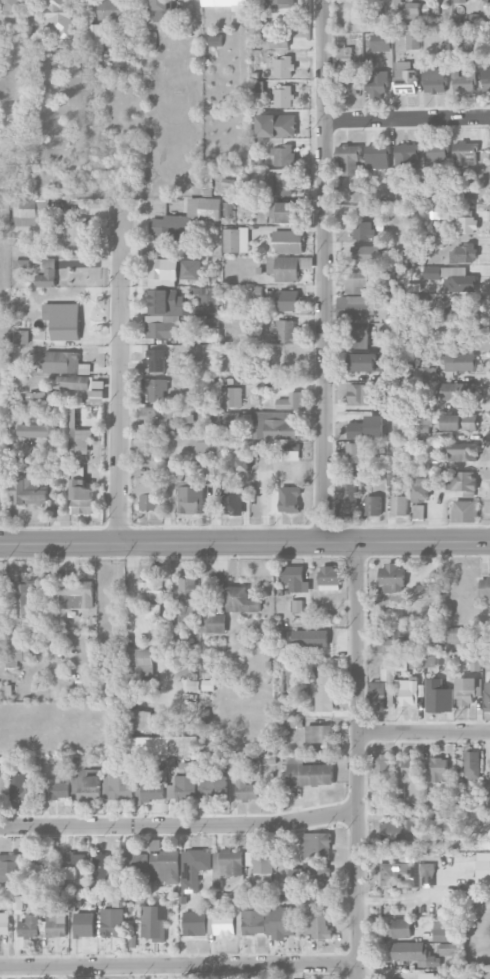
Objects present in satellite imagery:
building: (229, 3)
building: (9, 5)
building: (113, 9)
building: (162, 9)
building: (413, 10)
building: (58, 18)
building: (95, 37)
building: (413, 40)
building: (280, 41)
building: (378, 41)
building: (444, 47)
building: (344, 56)
building: (94, 62)
building: (284, 66)
building: (37, 68)
building: (405, 77)
building: (486, 78)
building: (434, 79)
building: (463, 80)
building: (377, 83)
building: (347, 85)
building: (283, 96)
road: (408, 118)
building: (276, 125)
building: (377, 152)
building: (464, 153)
building: (435, 154)
building: (284, 155)
building: (407, 156)
building: (348, 160)
building: (281, 181)
building: (31, 211)
building: (286, 212)
building: (439, 213)
building: (401, 216)
building: (186, 218)
building: (466, 221)
building: (362, 229)
building: (74, 235)
building: (236, 239)
building: (287, 241)
building: (436, 241)
building: (365, 253)
building: (463, 253)
building: (22, 263)
building: (287, 267)
building: (175, 269)
road: (325, 271)
building: (47, 273)
building: (452, 277)
building: (358, 281)
building: (252, 292)
building: (207, 299)
building: (287, 300)
building: (358, 307)
building: (462, 313)
building: (167, 315)
building: (64, 320)
building: (211, 322)
building: (284, 331)
building: (22, 336)
building: (357, 337)
building: (156, 360)
building: (367, 361)
building: (460, 361)
building: (65, 362)
park: (4, 366)
road: (120, 373)
building: (425, 374)
building: (75, 382)
building: (155, 389)
building: (457, 391)
building: (359, 394)
building: (40, 396)
building: (232, 397)
building: (292, 401)
building: (154, 418)
building: (188, 418)
building: (232, 418)
building: (421, 422)
building: (459, 422)
building: (283, 427)
building: (367, 428)
building: (37, 430)
building: (79, 437)
building: (204, 448)
building: (461, 451)
building: (353, 456)
building: (430, 461)
building: (243, 462)
building: (460, 480)
building: (420, 489)
building: (28, 491)
building: (148, 491)
building: (346, 496)
building: (81, 497)
building: (190, 499)
building: (289, 499)
building: (233, 500)
building: (373, 505)
building: (399, 505)
building: (464, 510)
building: (418, 511)
road: (245, 542)
building: (294, 577)
building: (392, 577)
building: (330, 578)
building: (484, 587)
building: (1, 588)
building: (427, 589)
building: (76, 593)
building: (153, 597)
building: (187, 600)
building: (241, 600)
building: (20, 604)
building: (297, 606)
building: (212, 623)
building: (456, 634)
building: (394, 635)
road: (139, 636)
building: (310, 638)
building: (15, 647)
building: (430, 660)
building: (140, 661)
building: (415, 661)
building: (475, 663)
building: (380, 688)
building: (6, 689)
building: (467, 689)
building: (322, 690)
building: (407, 690)
building: (438, 696)
building: (487, 696)
building: (139, 719)
building: (319, 733)
road: (424, 733)
building: (162, 745)
road: (358, 759)
building: (382, 763)
building: (472, 764)
building: (410, 766)
building: (187, 768)
building: (436, 770)
building: (308, 773)
building: (118, 784)
building: (88, 786)
building: (213, 786)
building: (148, 787)
building: (183, 787)
building: (3, 788)
building: (23, 788)
building: (57, 788)
building: (246, 789)
building: (486, 794)
building: (432, 802)
road: (179, 824)
building: (399, 831)
building: (316, 844)
building: (282, 851)
building: (137, 861)
building: (39, 863)
building: (228, 863)
building: (72, 864)
building: (165, 865)
building: (261, 865)
building: (102, 866)
building: (10, 867)
building: (195, 868)
building: (483, 869)
building: (297, 874)
building: (407, 875)
building: (317, 876)
building: (251, 918)
building: (112, 921)
building: (154, 922)
building: (281, 922)
building: (5, 923)
building: (195, 923)
building: (56, 924)
building: (84, 924)
building: (315, 924)
building: (29, 925)
building: (225, 925)
building: (400, 927)
road: (482, 928)
building: (444, 931)
building: (414, 953)
road: (178, 964)
road: (235, 971)
building: (427, 975)

